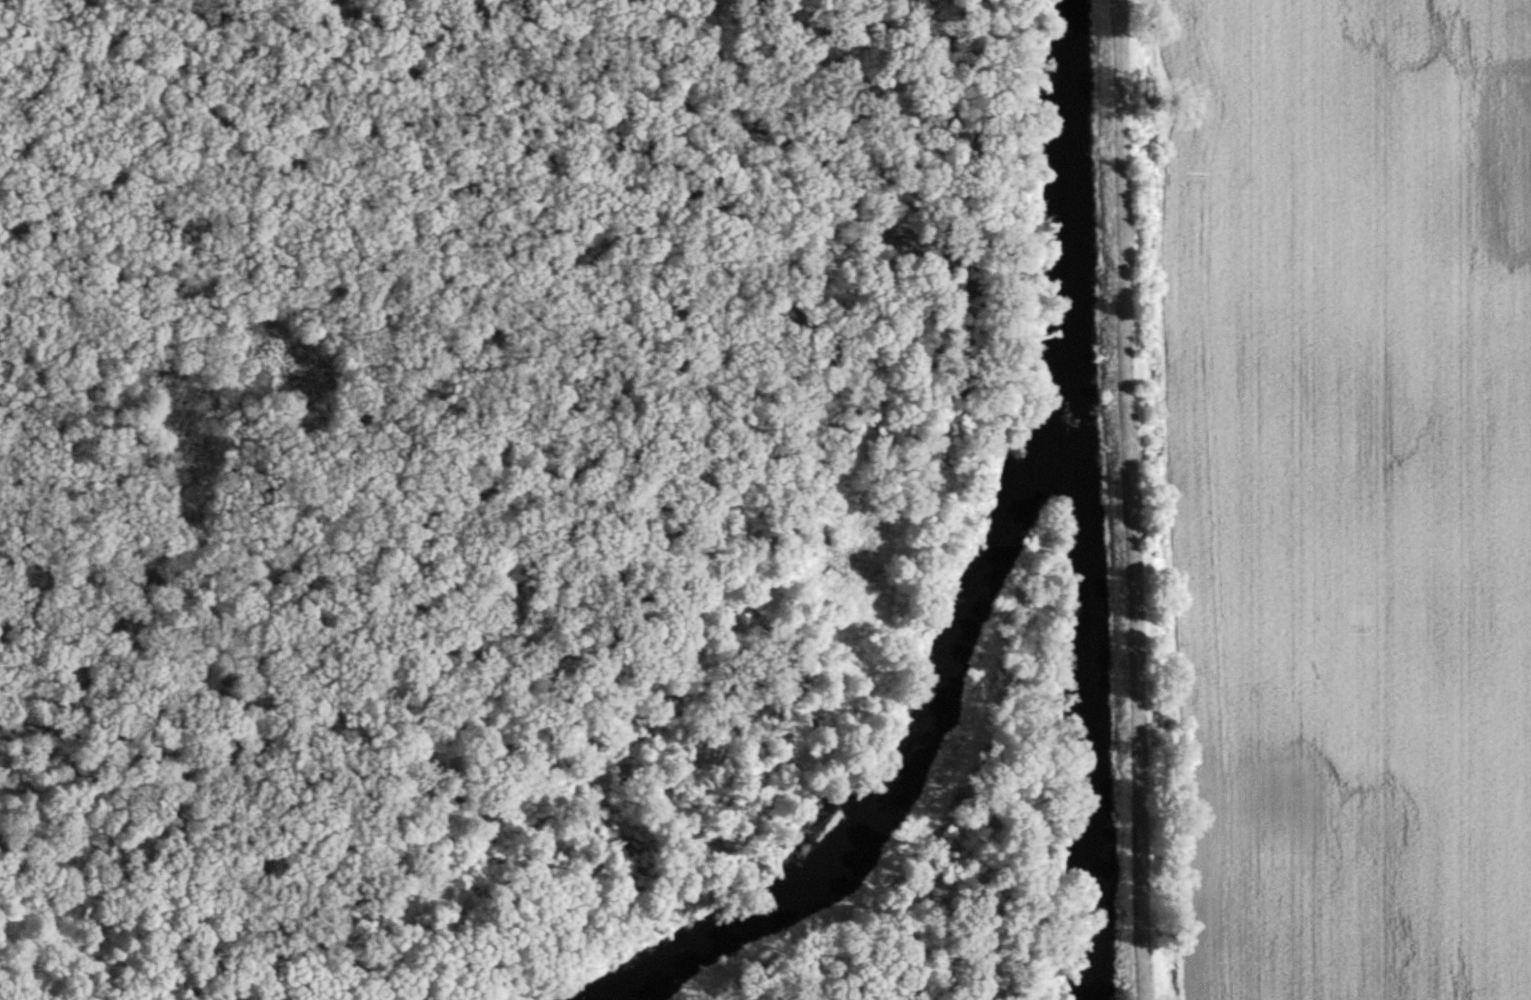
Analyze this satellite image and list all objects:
crop: (1347, 495)

